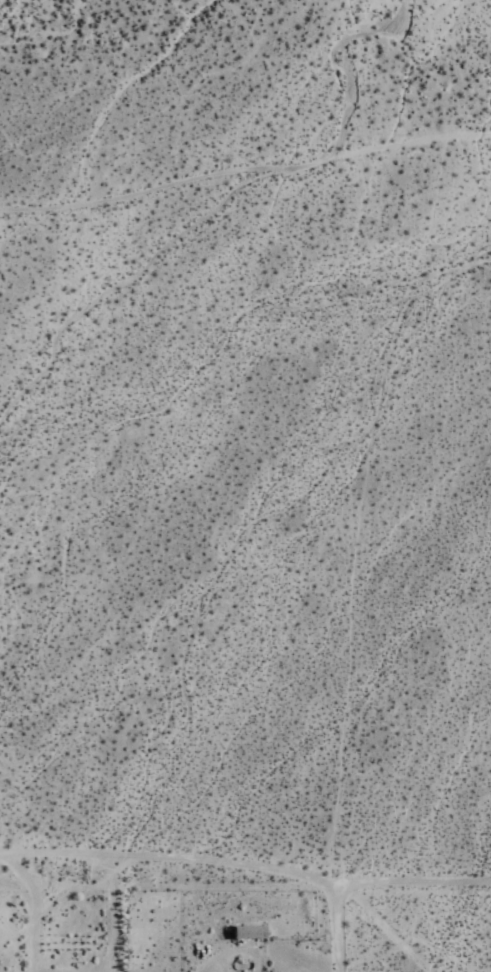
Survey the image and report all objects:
road: (245, 866)
road: (350, 919)

